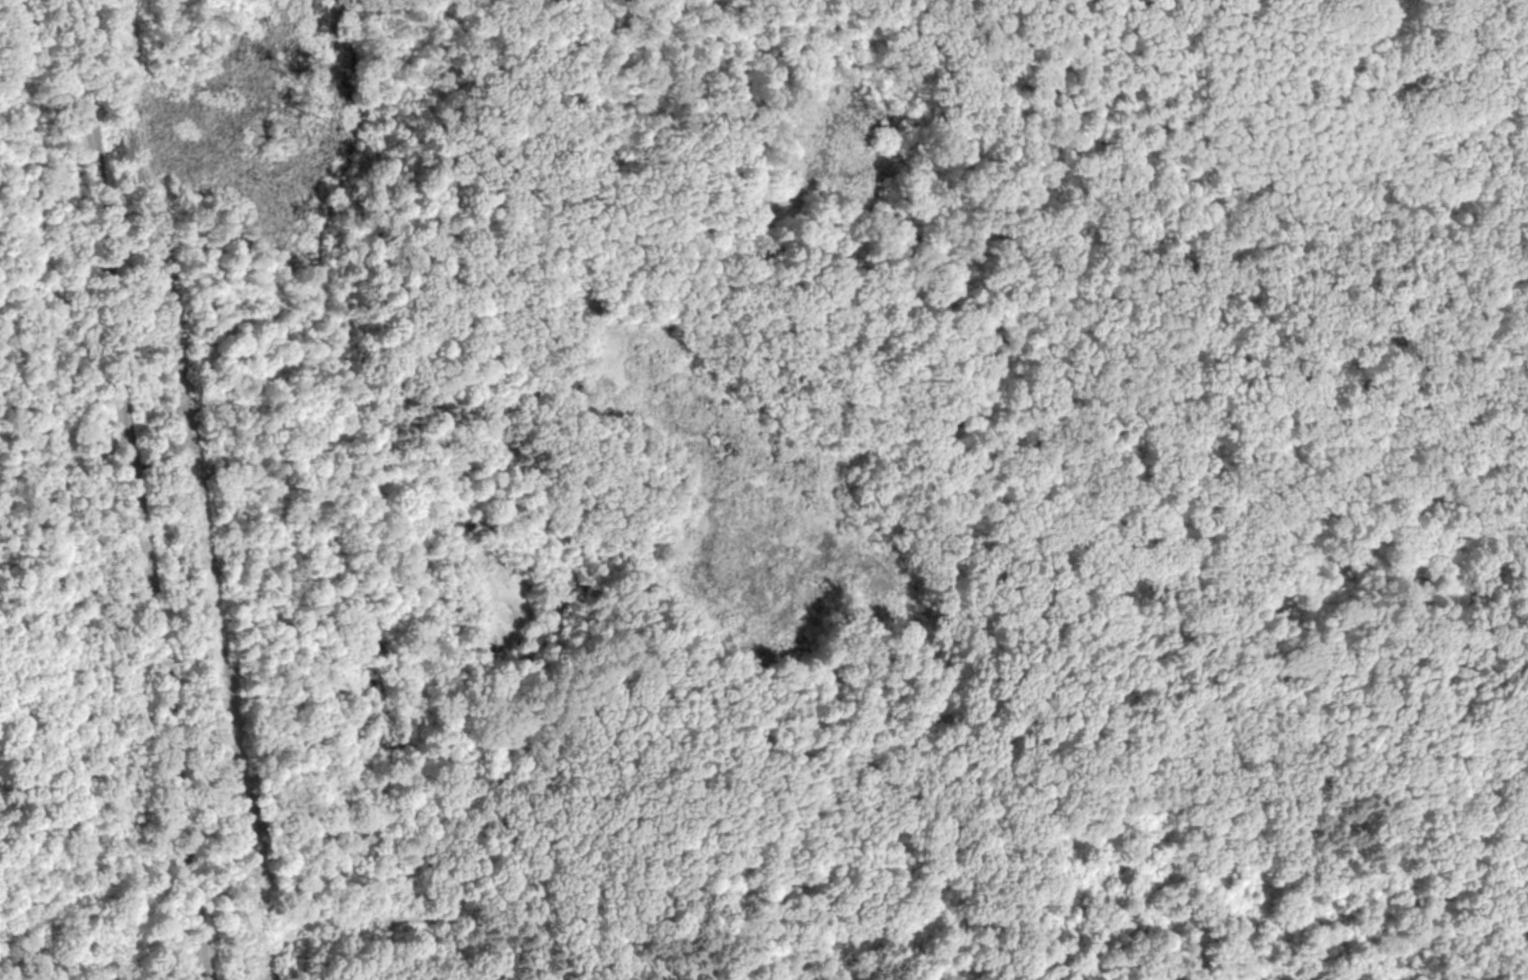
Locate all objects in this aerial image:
road: (139, 490)
park: (764, 490)
road: (1438, 898)
road: (451, 919)

